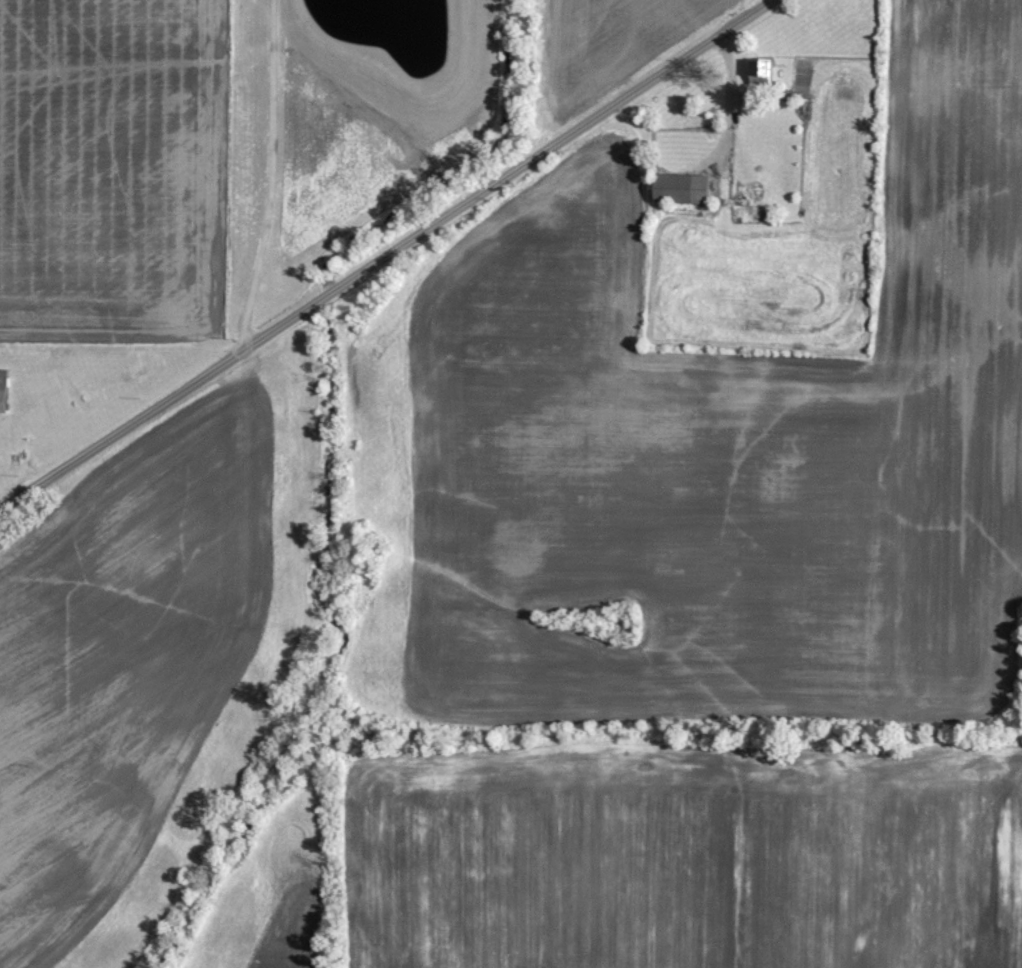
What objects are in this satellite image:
building: (757, 69)
road: (268, 173)
building: (678, 186)
road: (384, 253)
building: (2, 388)

